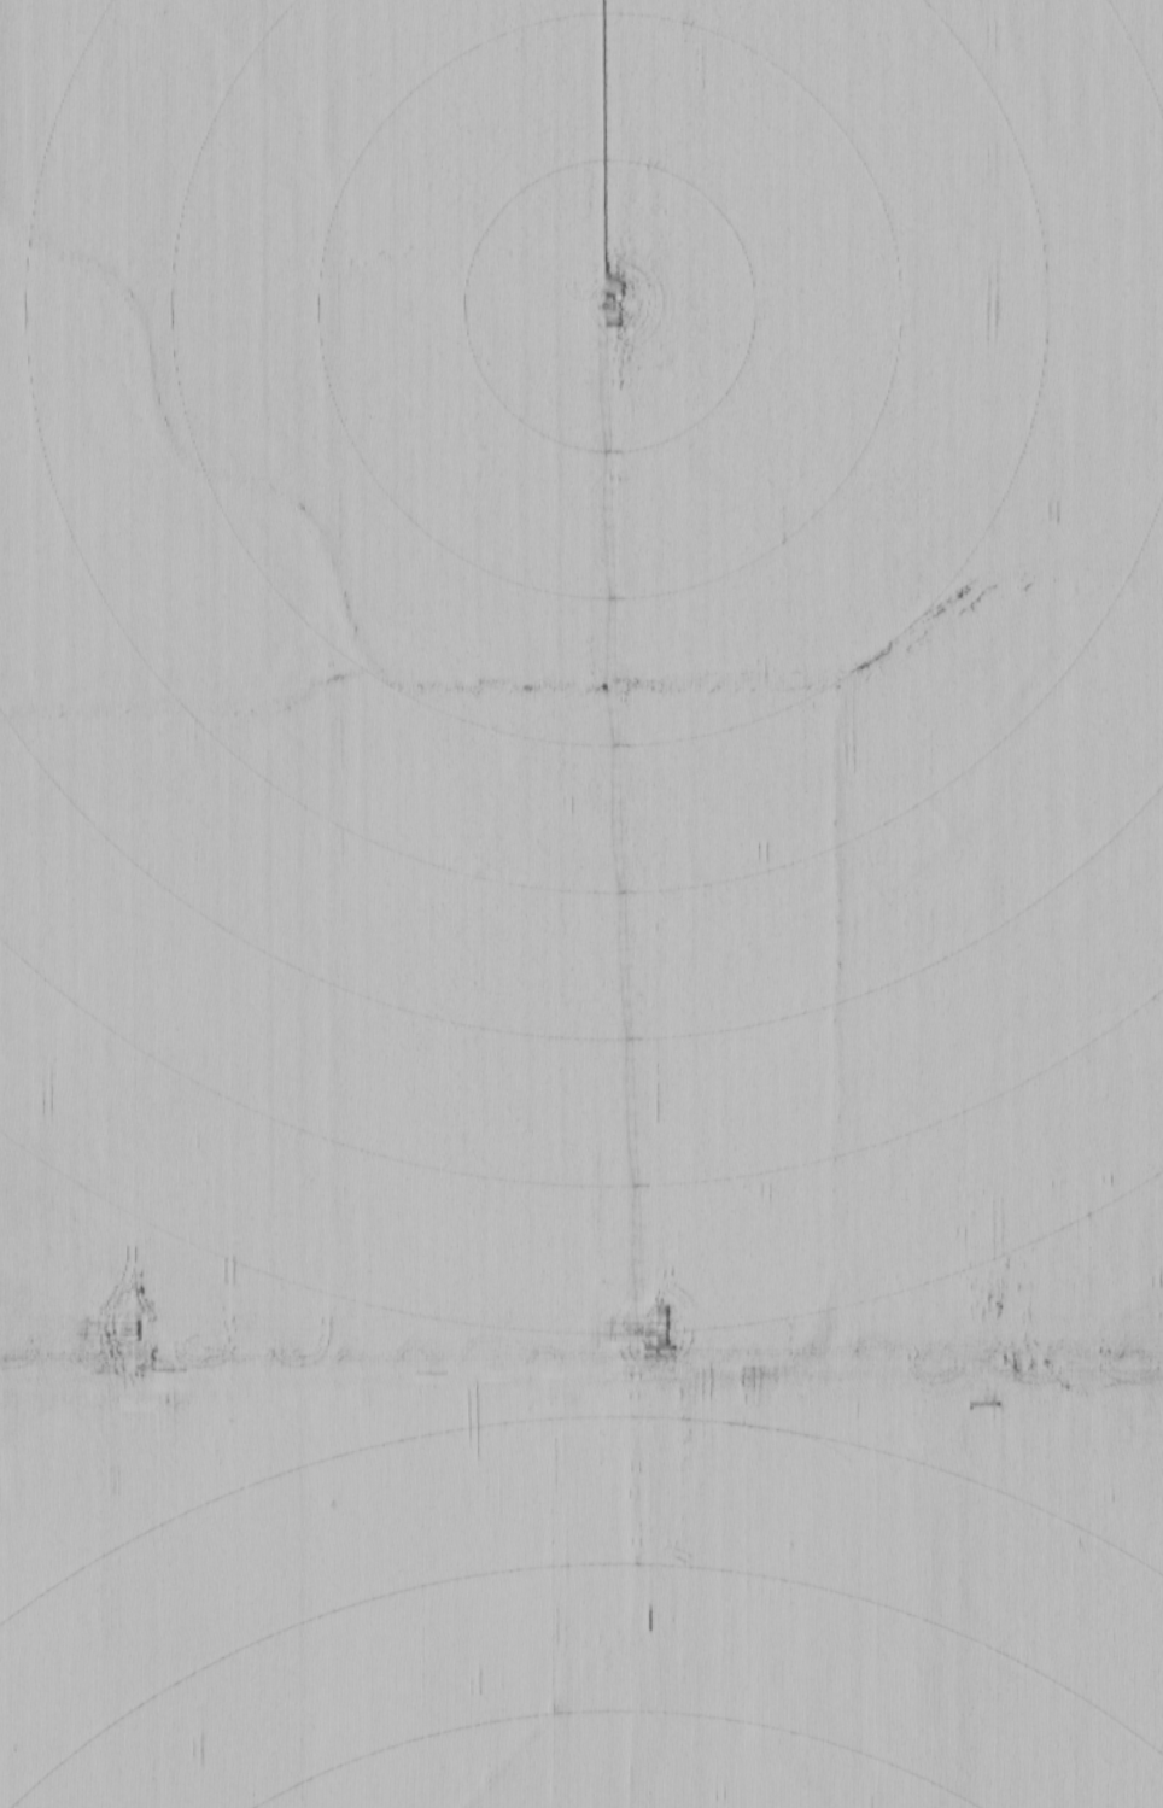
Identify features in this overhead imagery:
power tower: (658, 1330)
power tower: (138, 1332)

